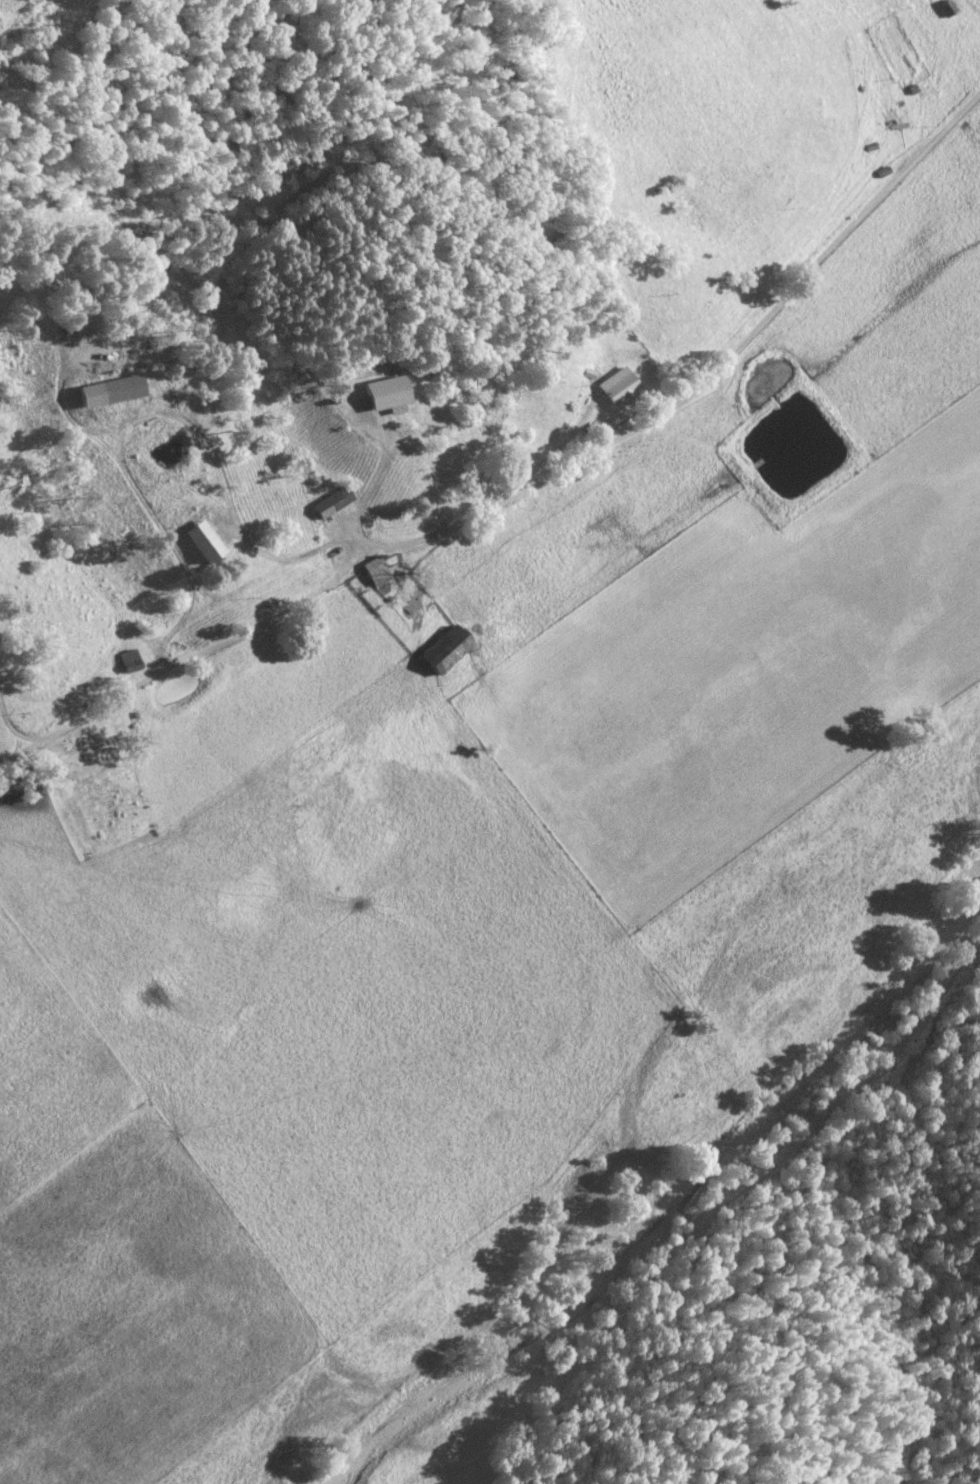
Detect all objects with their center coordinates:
building: (945, 9)
building: (615, 389)
building: (103, 394)
building: (379, 397)
road: (530, 481)
building: (329, 504)
building: (195, 544)
building: (372, 573)
building: (442, 652)
road: (10, 731)
park: (96, 785)
road: (729, 1211)

